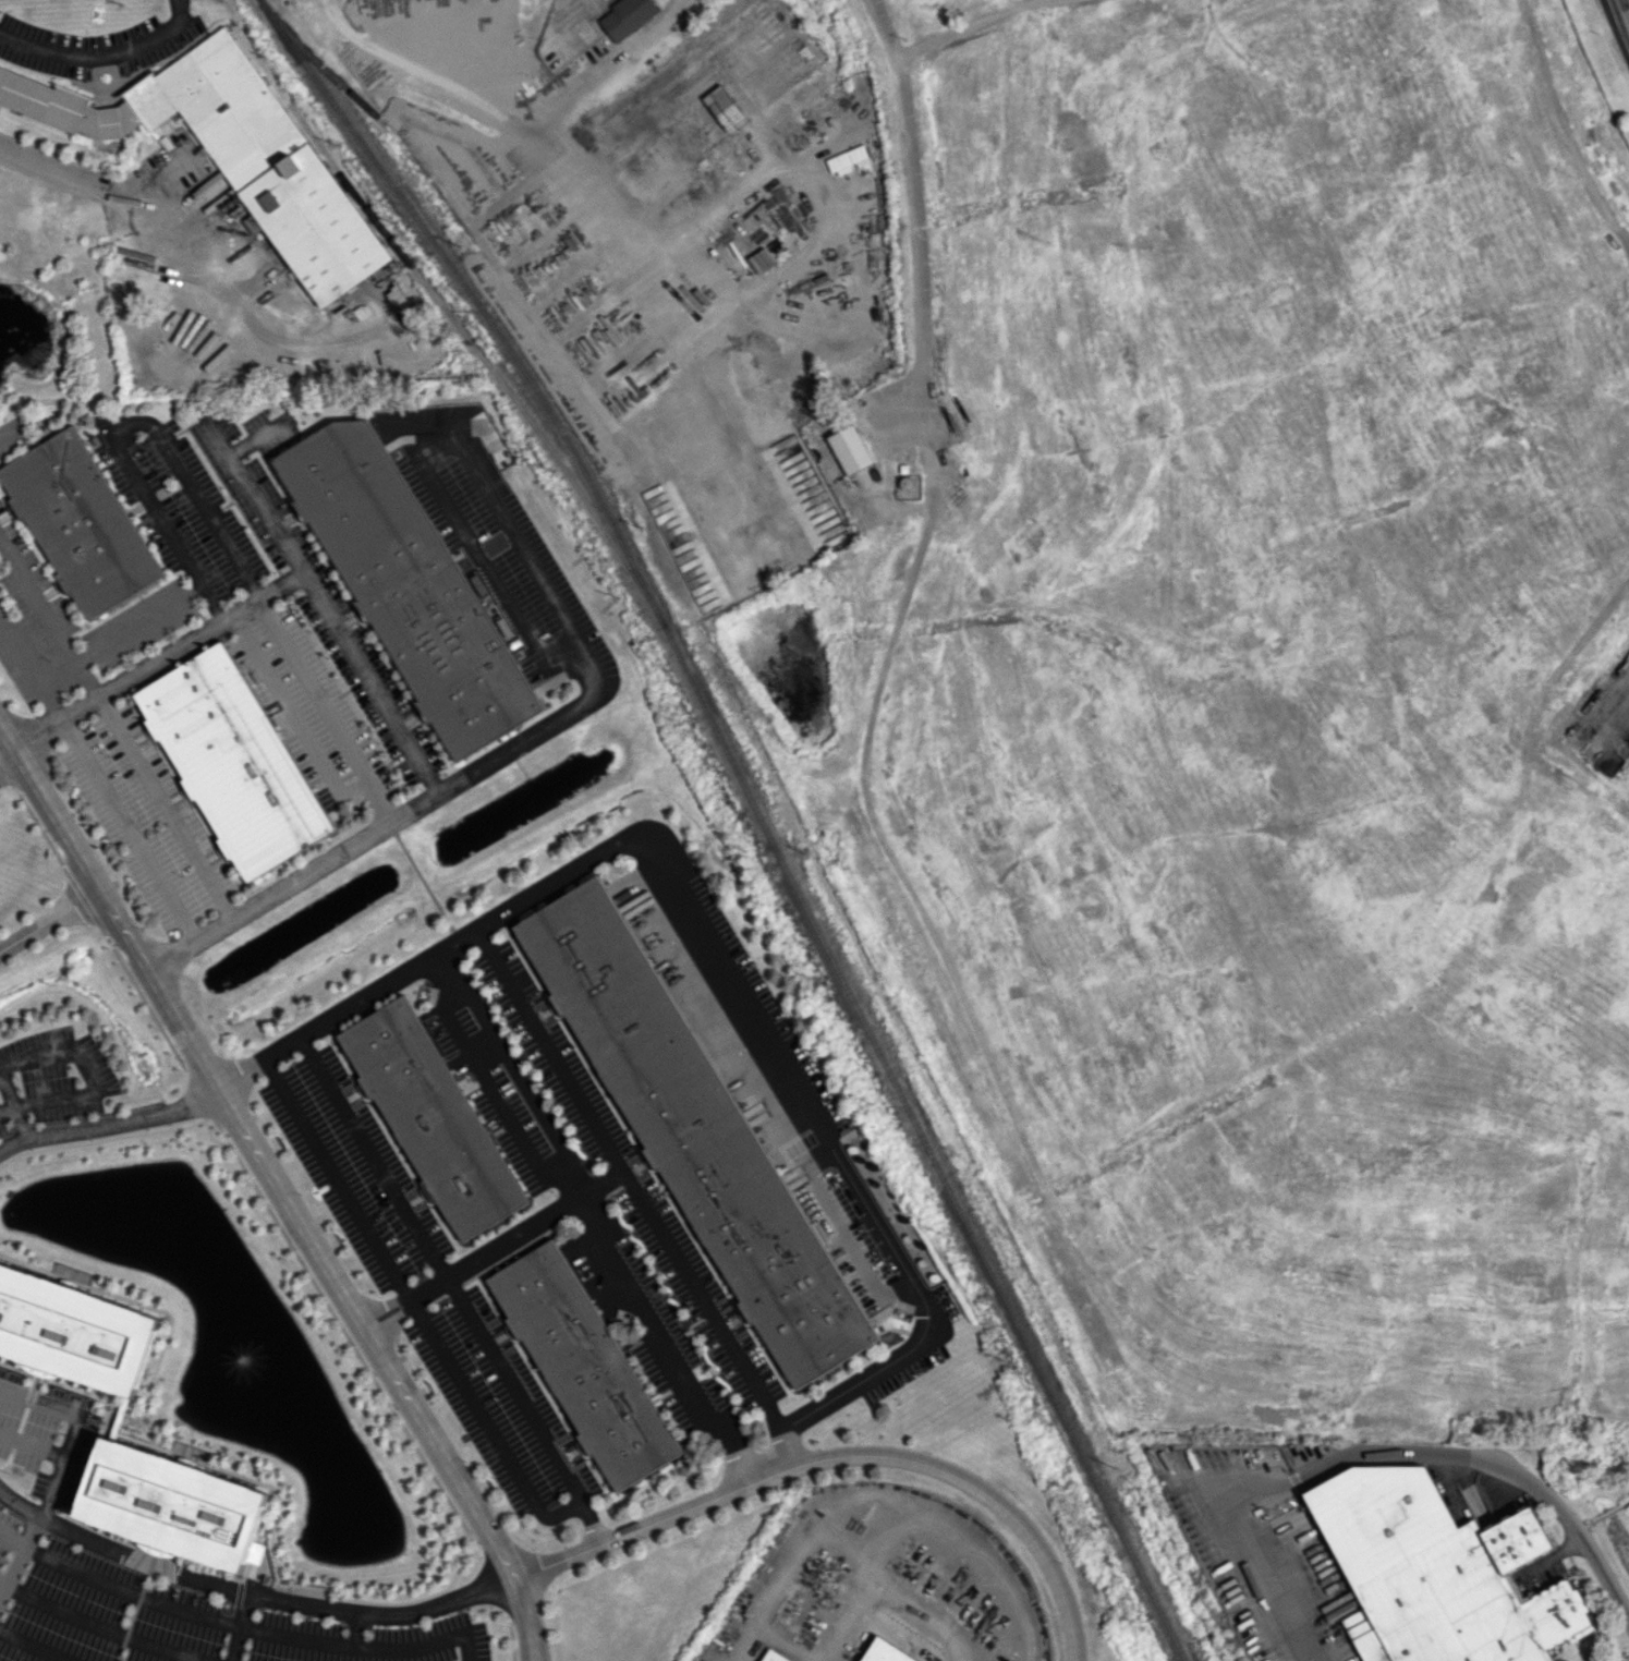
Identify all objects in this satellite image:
building: (627, 16)
road: (1620, 16)
road: (969, 24)
road: (102, 56)
road: (430, 82)
building: (694, 98)
road: (552, 119)
road: (1563, 129)
building: (232, 153)
road: (914, 207)
road: (126, 209)
road: (835, 210)
road: (118, 422)
building: (849, 449)
road: (252, 488)
building: (78, 522)
building: (405, 585)
road: (267, 591)
road: (38, 598)
road: (125, 633)
road: (31, 669)
road: (498, 753)
building: (231, 762)
road: (10, 769)
road: (352, 788)
road: (376, 801)
road: (163, 807)
railway: (757, 810)
road: (129, 828)
road: (48, 918)
road: (538, 1031)
road: (512, 1066)
road: (787, 1071)
road: (86, 1072)
road: (12, 1107)
road: (5, 1110)
building: (431, 1117)
road: (348, 1119)
road: (110, 1123)
building: (694, 1132)
road: (280, 1189)
road: (842, 1234)
road: (696, 1299)
road: (416, 1307)
building: (74, 1330)
road: (673, 1333)
building: (582, 1363)
road: (502, 1368)
road: (838, 1456)
road: (1502, 1466)
building: (170, 1504)
road: (1243, 1551)
road: (17, 1556)
building: (1439, 1573)
road: (992, 1577)
road: (116, 1589)
road: (246, 1596)
road: (98, 1627)
road: (238, 1628)
road: (355, 1628)
road: (362, 1644)
road: (34, 1646)
building: (884, 1651)
building: (770, 1657)

